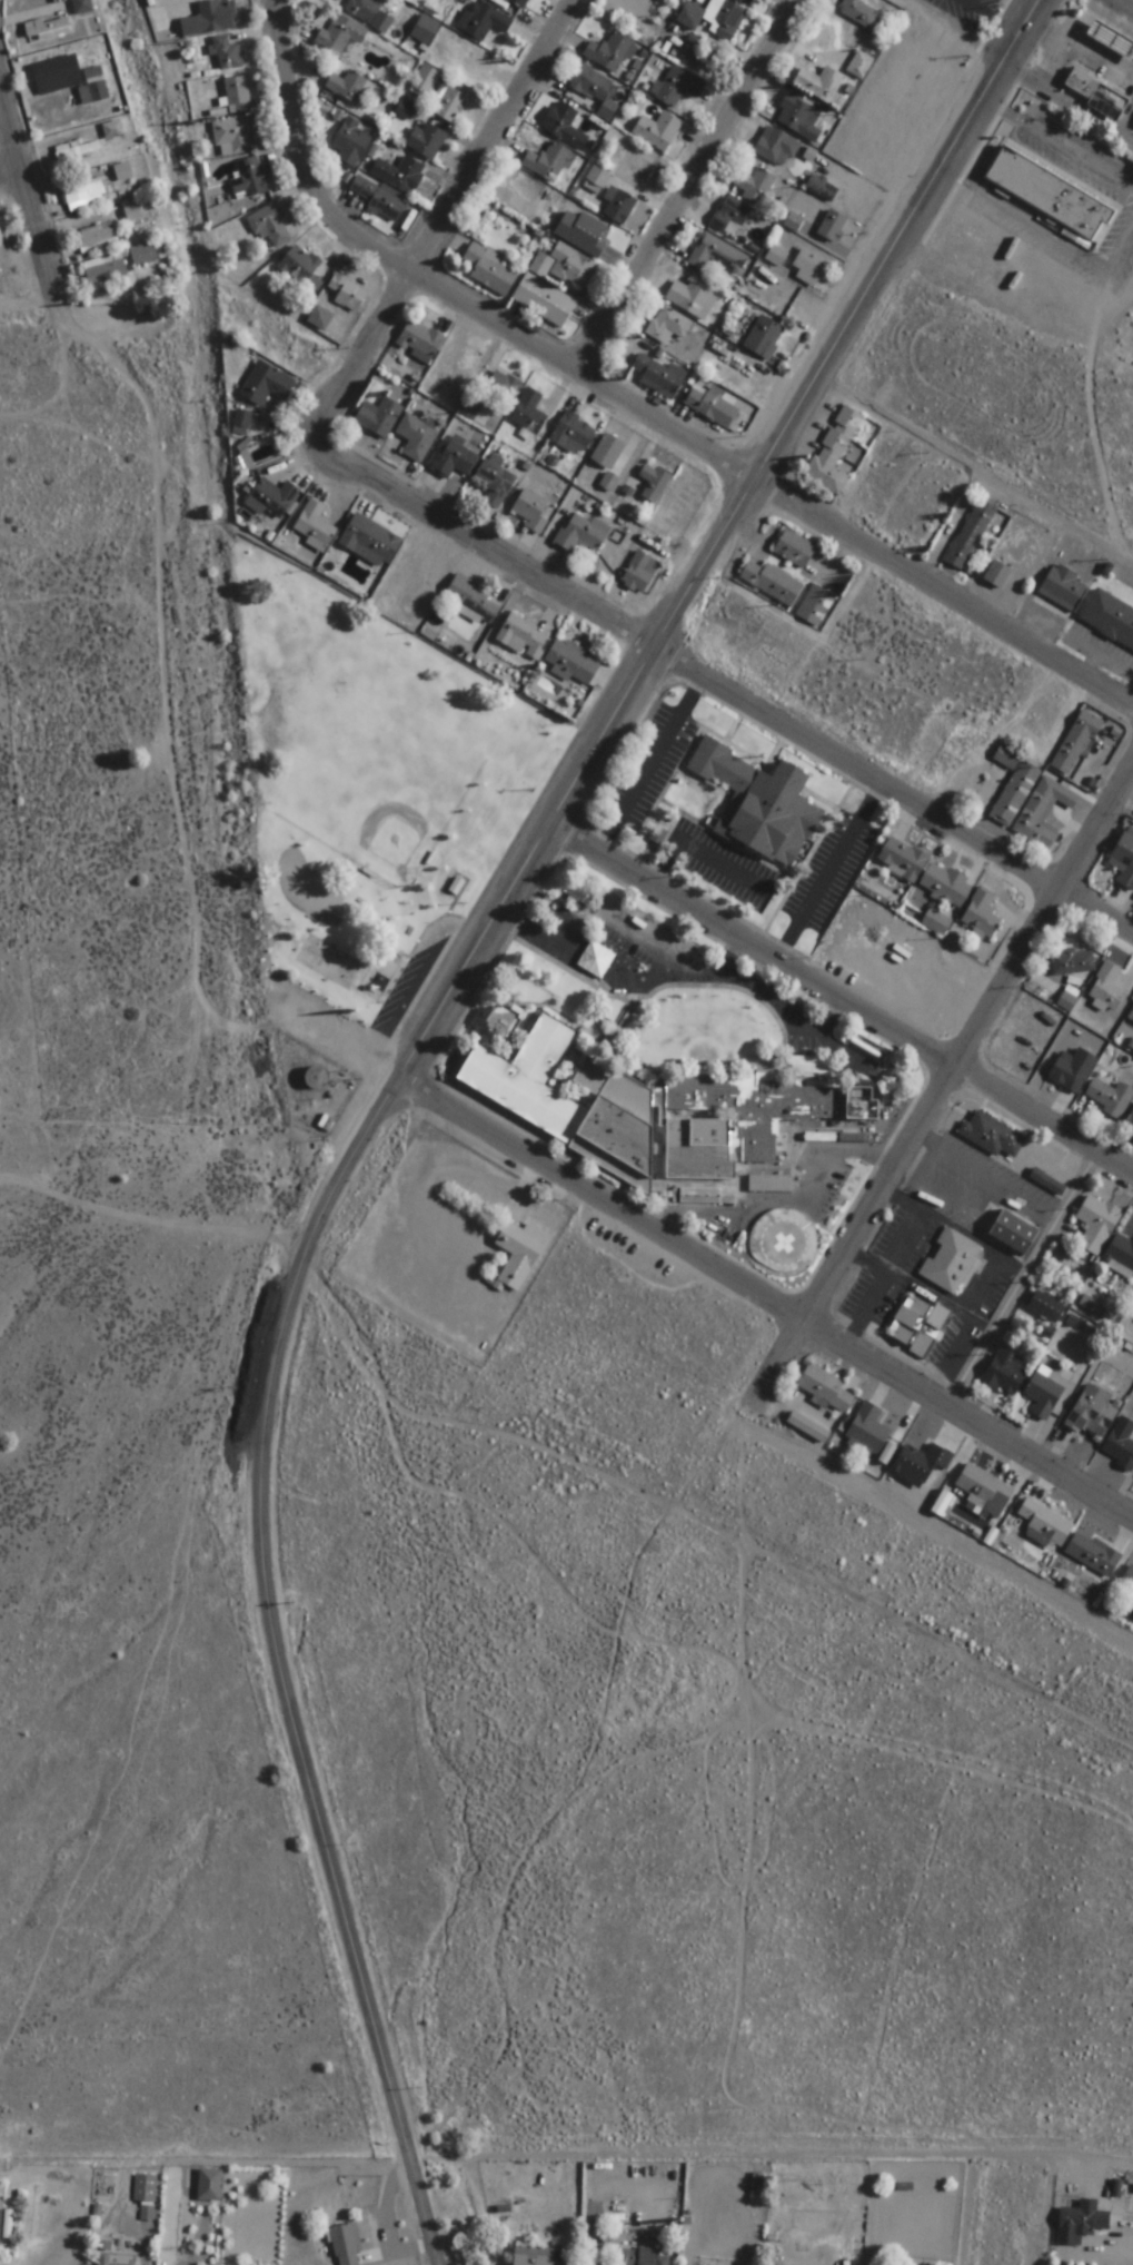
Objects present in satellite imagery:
building: (745, 2)
building: (518, 3)
road: (1043, 3)
building: (82, 7)
road: (1119, 8)
road: (976, 11)
road: (1112, 12)
building: (858, 13)
building: (369, 14)
road: (1120, 18)
building: (211, 19)
building: (722, 20)
crop: (167, 21)
road: (1127, 21)
building: (484, 24)
building: (47, 29)
road: (1047, 33)
building: (341, 37)
road: (1097, 38)
gas station: (1119, 42)
road: (1106, 43)
road: (1113, 47)
building: (227, 53)
building: (612, 53)
road: (1122, 53)
road: (1095, 62)
road: (1125, 62)
building: (859, 66)
building: (47, 72)
road: (1131, 77)
building: (425, 80)
building: (819, 83)
building: (96, 85)
building: (349, 88)
building: (676, 88)
building: (593, 90)
building: (237, 95)
building: (451, 102)
building: (1109, 102)
building: (405, 110)
road: (1011, 115)
building: (799, 118)
building: (564, 126)
building: (112, 130)
building: (658, 131)
building: (235, 136)
building: (426, 140)
building: (350, 147)
building: (776, 148)
building: (76, 150)
road: (1082, 157)
building: (548, 164)
building: (122, 172)
building: (400, 175)
building: (252, 177)
building: (596, 180)
building: (754, 186)
road: (690, 189)
building: (822, 189)
road: (11, 190)
building: (88, 194)
building: (379, 201)
building: (1062, 201)
building: (619, 207)
building: (132, 212)
building: (729, 215)
road: (449, 218)
building: (269, 226)
building: (833, 227)
building: (583, 233)
building: (97, 239)
road: (40, 240)
road: (907, 243)
building: (0, 244)
building: (145, 255)
building: (717, 255)
building: (776, 257)
road: (1129, 263)
building: (567, 268)
building: (809, 268)
building: (105, 269)
building: (301, 270)
road: (1129, 270)
building: (490, 271)
building: (345, 294)
road: (441, 295)
building: (690, 299)
building: (544, 301)
building: (668, 326)
building: (764, 338)
building: (419, 342)
building: (457, 363)
building: (657, 377)
building: (266, 385)
building: (504, 390)
building: (710, 406)
road: (1101, 409)
building: (528, 414)
building: (378, 418)
building: (241, 422)
building: (573, 435)
building: (416, 438)
building: (607, 453)
building: (834, 453)
building: (455, 461)
road: (978, 476)
building: (495, 482)
building: (609, 483)
building: (654, 484)
building: (271, 500)
building: (534, 512)
building: (314, 527)
building: (582, 534)
building: (971, 536)
building: (369, 542)
building: (794, 550)
building: (640, 573)
building: (996, 577)
building: (772, 584)
building: (1064, 588)
road: (946, 597)
building: (471, 603)
building: (816, 607)
building: (1109, 620)
building: (524, 637)
road: (653, 656)
building: (572, 663)
road: (722, 693)
building: (1076, 744)
building: (1089, 749)
building: (1025, 793)
park: (371, 794)
road: (90, 795)
park: (382, 798)
building: (759, 805)
building: (1055, 819)
road: (182, 829)
building: (902, 860)
building: (1124, 860)
building: (946, 887)
building: (982, 916)
road: (628, 932)
road: (1045, 932)
road: (753, 947)
road: (728, 957)
building: (1072, 963)
road: (687, 976)
building: (1107, 990)
road: (829, 1018)
building: (1131, 1018)
building: (503, 1025)
building: (1073, 1070)
building: (315, 1080)
building: (1111, 1097)
building: (862, 1105)
building: (645, 1115)
building: (1130, 1120)
road: (1042, 1122)
building: (994, 1135)
building: (846, 1139)
road: (991, 1171)
building: (1044, 1179)
building: (769, 1185)
road: (942, 1194)
road: (779, 1197)
building: (1096, 1223)
building: (1013, 1232)
road: (848, 1242)
road: (667, 1243)
helipad: (783, 1244)
building: (519, 1254)
building: (1120, 1256)
building: (951, 1260)
road: (1022, 1283)
road: (983, 1293)
road: (934, 1299)
building: (1046, 1306)
road: (864, 1309)
building: (921, 1327)
building: (1004, 1375)
building: (825, 1387)
building: (1044, 1394)
building: (1092, 1412)
building: (808, 1427)
building: (867, 1430)
building: (1121, 1442)
building: (920, 1464)
building: (984, 1490)
road: (262, 1524)
building: (1044, 1524)
building: (1093, 1553)
building: (1129, 1579)
road: (1038, 2143)
building: (209, 2185)
building: (586, 2186)
building: (143, 2188)
building: (757, 2188)
building: (619, 2206)
building: (1081, 2222)
building: (4, 2225)
building: (345, 2245)
building: (533, 2255)
building: (642, 2257)
building: (115, 2259)

